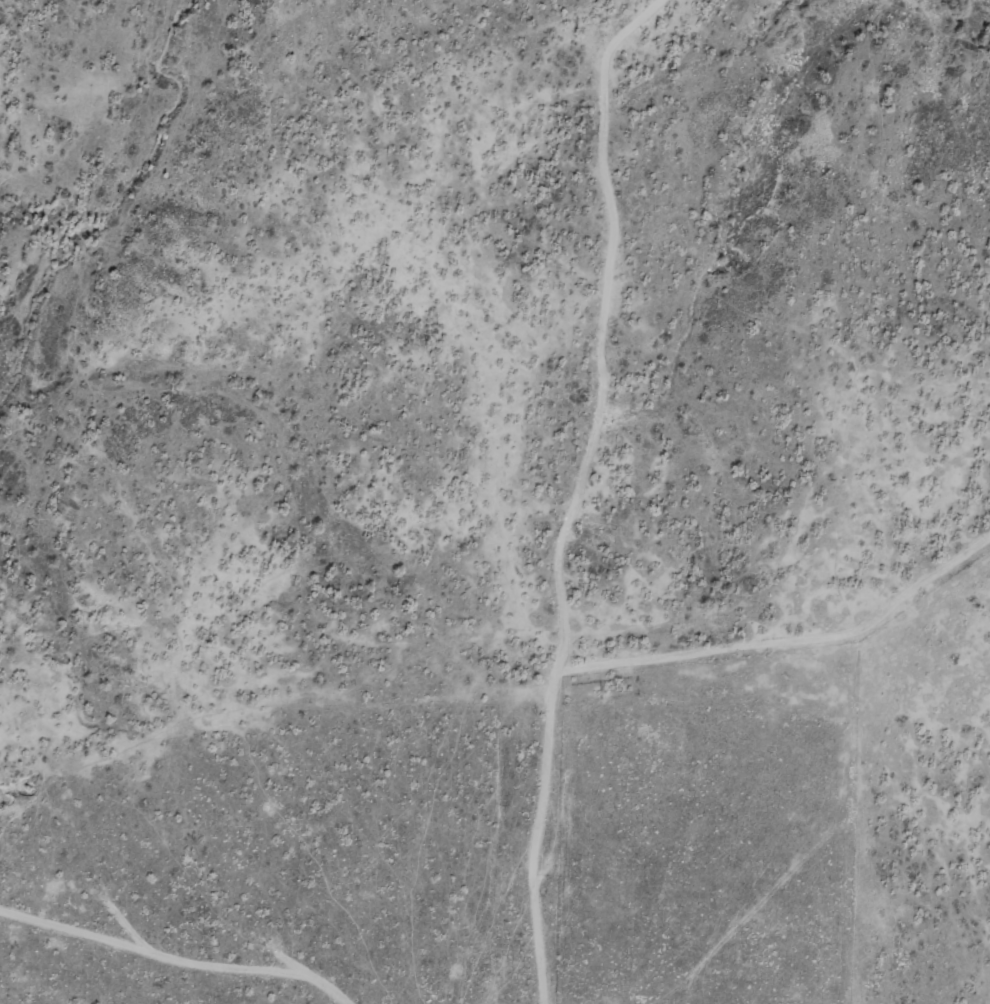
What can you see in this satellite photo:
road: (507, 618)

